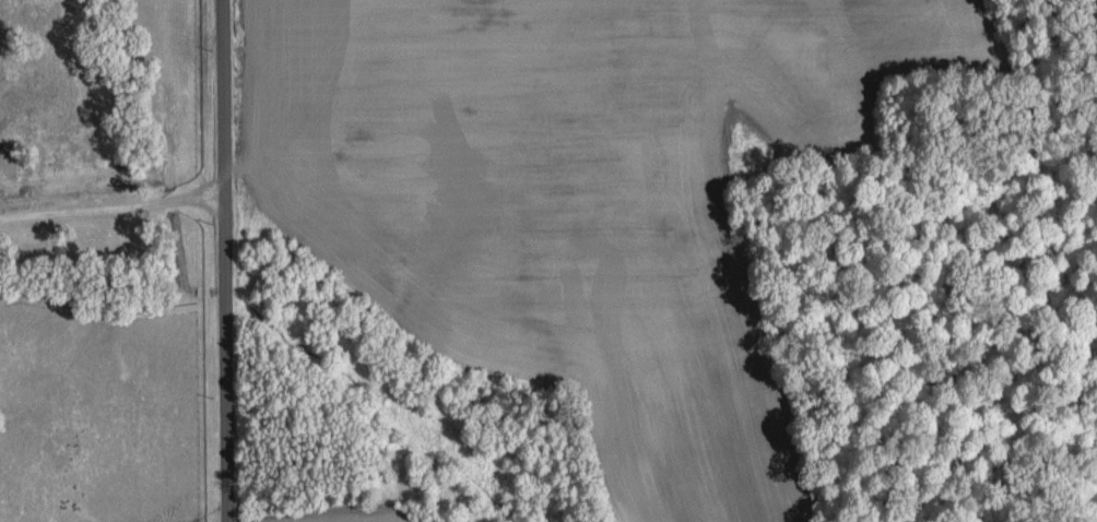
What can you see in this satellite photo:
road: (224, 261)

